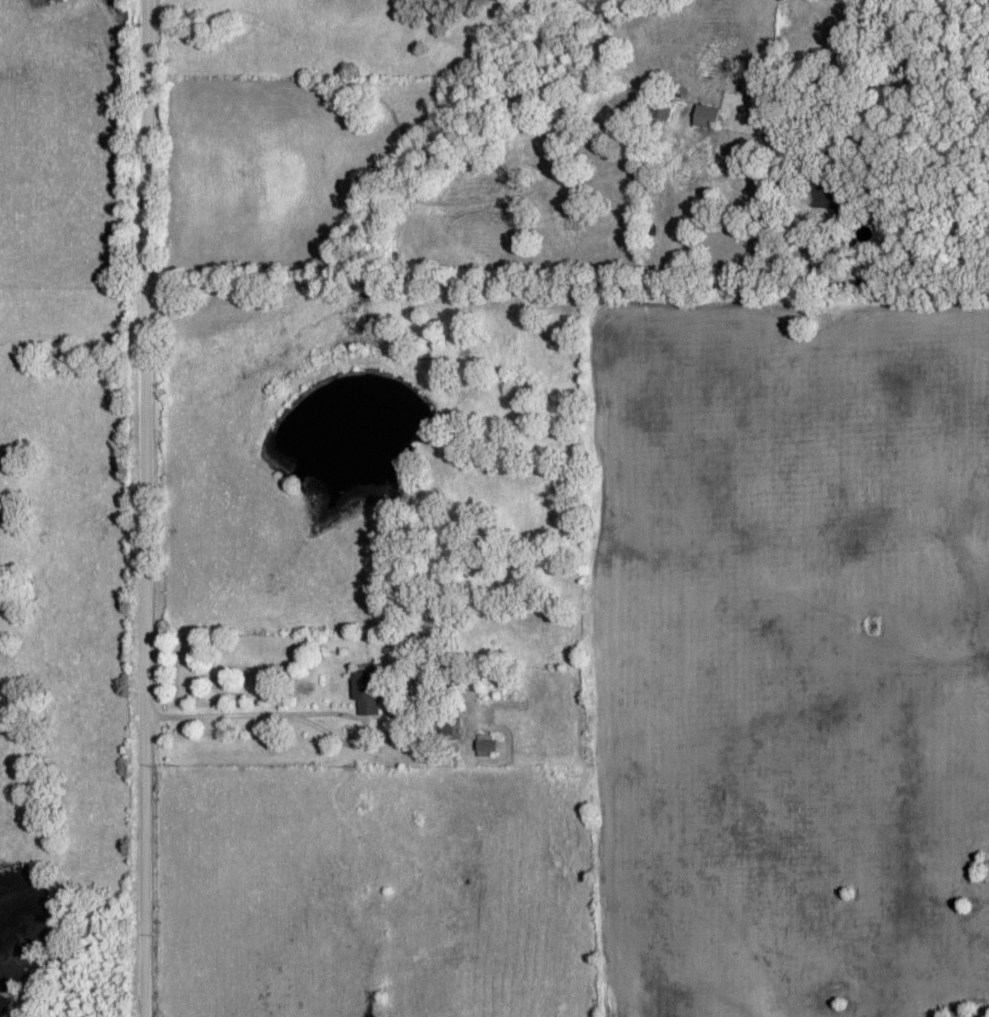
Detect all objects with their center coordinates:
building: (659, 110)
building: (704, 117)
building: (827, 193)
road: (574, 245)
road: (157, 508)
building: (364, 693)
building: (484, 746)

